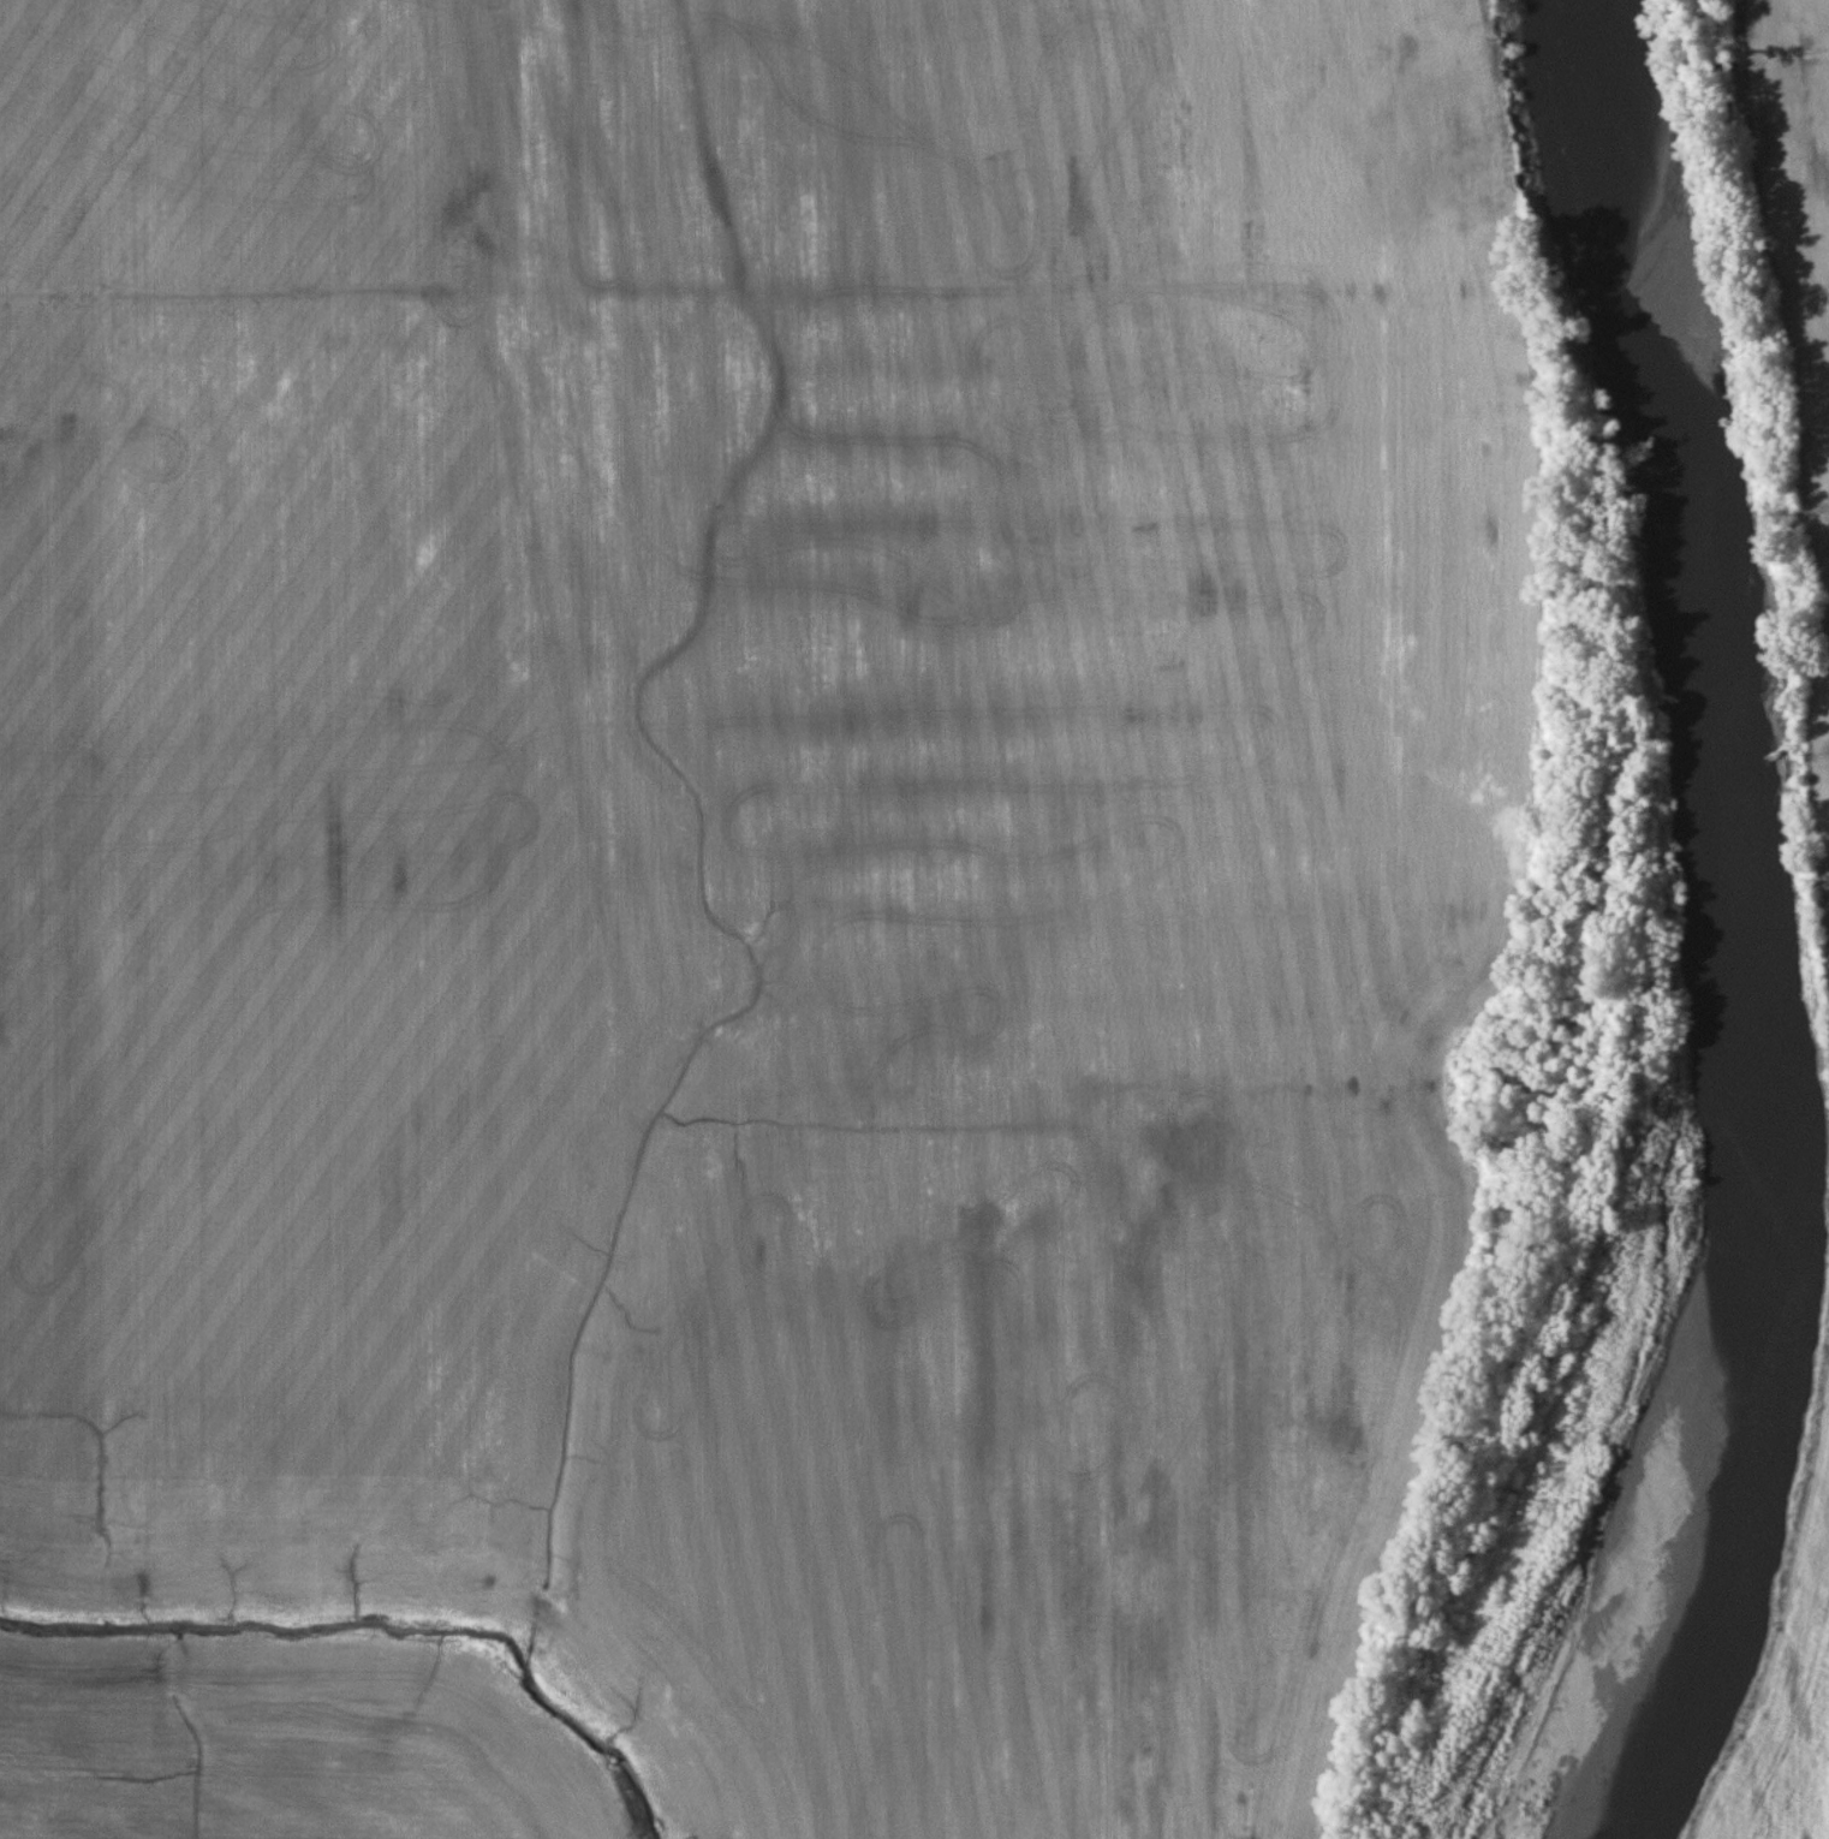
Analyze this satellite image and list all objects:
road: (1800, 1349)

